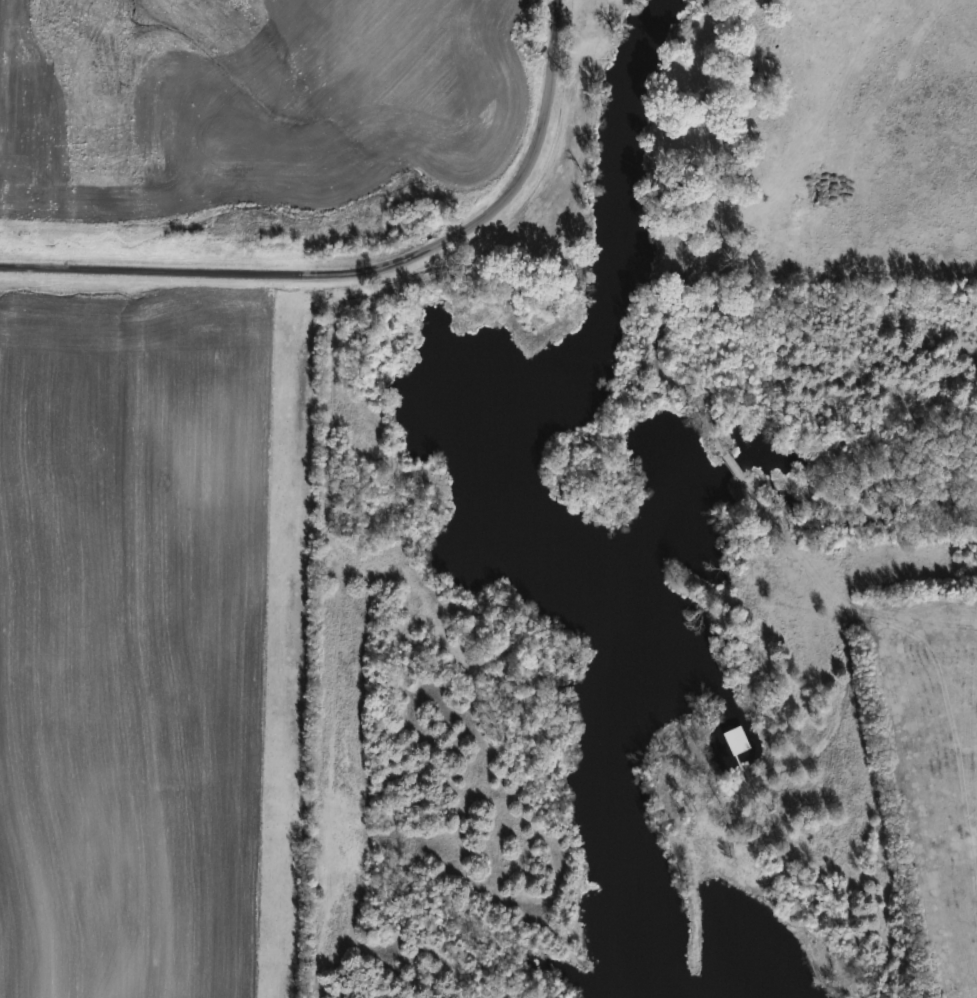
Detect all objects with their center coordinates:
road: (367, 271)

